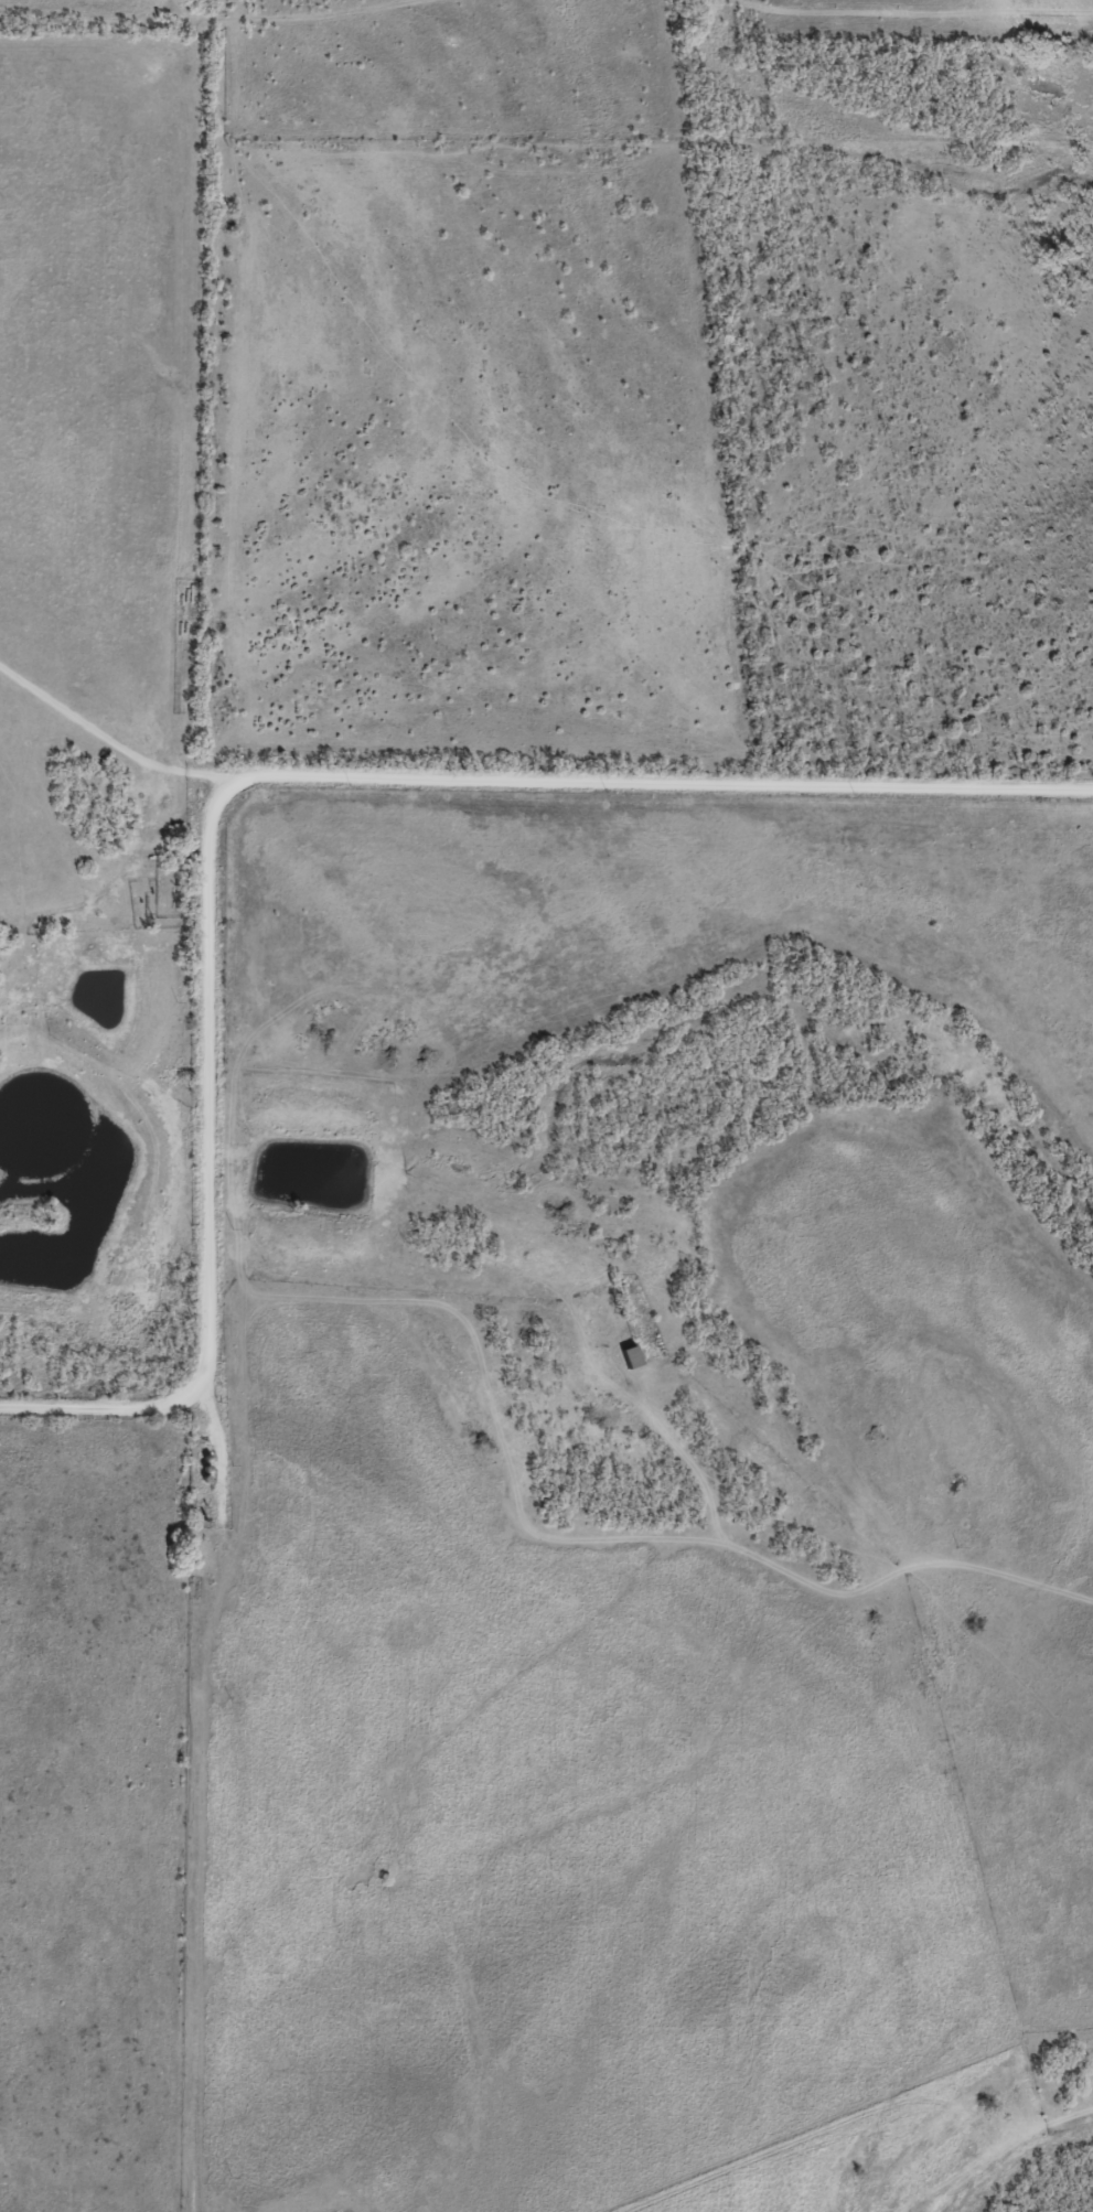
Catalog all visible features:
road: (110, 751)
road: (253, 786)
road: (618, 1550)

